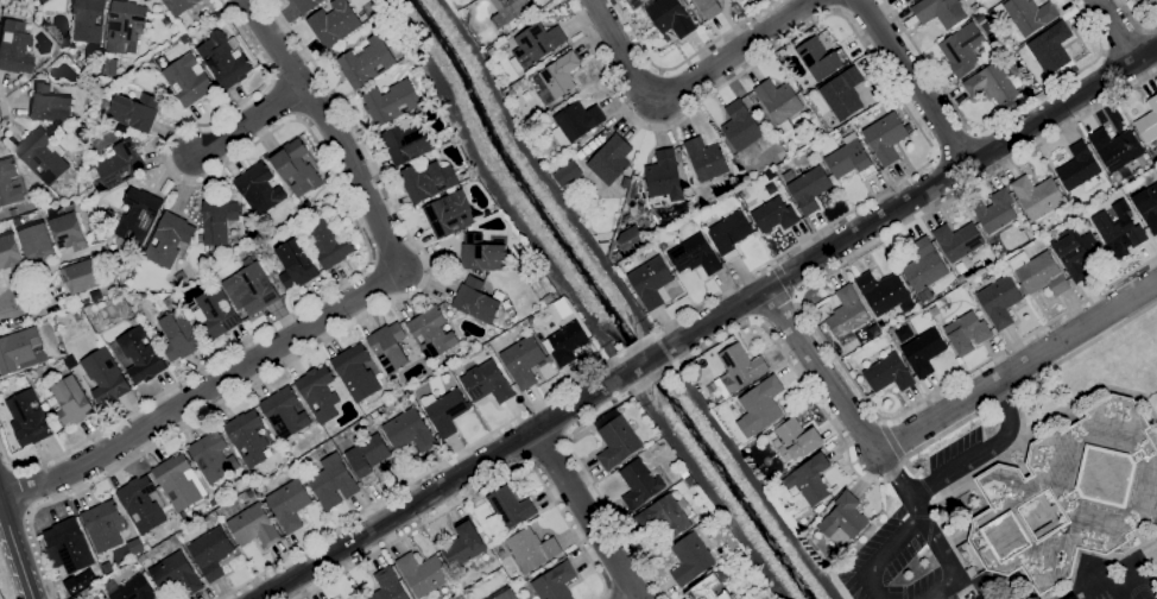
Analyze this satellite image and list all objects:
building: (905, 0)
building: (908, 0)
building: (40, 1)
building: (634, 4)
building: (306, 5)
building: (179, 6)
building: (709, 7)
building: (508, 10)
building: (940, 12)
building: (464, 14)
building: (1026, 14)
building: (670, 17)
building: (88, 19)
road: (1136, 19)
building: (334, 23)
building: (125, 26)
road: (1115, 30)
building: (536, 44)
building: (1051, 46)
building: (14, 48)
building: (962, 49)
building: (821, 57)
building: (223, 58)
road: (683, 61)
building: (366, 62)
building: (110, 67)
building: (561, 72)
building: (188, 80)
road: (912, 82)
building: (991, 83)
road: (684, 86)
building: (843, 93)
building: (779, 100)
building: (391, 102)
building: (49, 105)
building: (133, 111)
road: (8, 116)
building: (578, 119)
road: (998, 119)
road: (249, 120)
building: (521, 122)
building: (1147, 122)
building: (741, 125)
road: (333, 128)
building: (886, 137)
building: (407, 141)
road: (954, 144)
building: (1115, 147)
building: (42, 156)
building: (707, 158)
building: (851, 158)
building: (612, 159)
building: (121, 164)
building: (296, 166)
building: (1079, 166)
building: (565, 174)
building: (664, 175)
building: (428, 179)
building: (10, 182)
building: (259, 188)
building: (809, 188)
building: (1038, 195)
building: (306, 202)
road: (349, 206)
building: (1147, 206)
building: (14, 210)
building: (995, 210)
building: (450, 214)
building: (139, 215)
building: (775, 215)
building: (219, 220)
building: (18, 221)
building: (70, 228)
building: (1118, 231)
building: (731, 234)
road: (813, 234)
building: (99, 235)
building: (170, 238)
building: (631, 239)
building: (325, 240)
building: (959, 240)
building: (39, 241)
building: (358, 244)
building: (663, 245)
building: (1076, 252)
building: (12, 253)
building: (482, 253)
building: (695, 256)
building: (296, 264)
building: (924, 267)
building: (620, 272)
building: (1039, 273)
building: (81, 276)
road: (783, 280)
building: (651, 282)
building: (254, 288)
building: (881, 291)
building: (1000, 299)
building: (84, 301)
building: (170, 301)
building: (476, 301)
road: (32, 304)
road: (7, 309)
building: (935, 310)
building: (216, 314)
building: (847, 314)
road: (810, 316)
building: (135, 321)
road: (708, 322)
building: (880, 323)
building: (432, 332)
building: (878, 332)
building: (967, 332)
building: (181, 335)
road: (333, 335)
building: (101, 342)
building: (567, 342)
building: (388, 346)
building: (19, 348)
building: (923, 352)
building: (140, 354)
building: (524, 360)
building: (740, 366)
building: (355, 372)
road: (797, 373)
building: (889, 373)
building: (107, 377)
building: (487, 382)
road: (201, 389)
building: (320, 393)
building: (72, 401)
building: (760, 405)
building: (445, 410)
building: (284, 412)
building: (377, 414)
building: (30, 417)
road: (931, 418)
building: (410, 430)
building: (249, 436)
building: (795, 439)
building: (618, 442)
road: (984, 452)
flagpole: (1014, 455)
building: (214, 456)
building: (368, 456)
road: (892, 471)
building: (811, 479)
building: (181, 481)
building: (334, 481)
building: (640, 484)
road: (26, 488)
road: (482, 488)
building: (1070, 493)
building: (143, 503)
building: (214, 503)
building: (290, 504)
building: (508, 507)
building: (820, 507)
road: (913, 507)
road: (587, 515)
building: (666, 516)
building: (843, 518)
building: (814, 523)
building: (105, 524)
building: (255, 525)
road: (913, 528)
building: (71, 544)
building: (463, 544)
building: (531, 549)
road: (15, 551)
building: (213, 551)
building: (690, 559)
building: (423, 573)
building: (177, 574)
building: (556, 581)
building: (387, 586)
building: (713, 586)
building: (132, 588)
building: (506, 594)
road: (607, 594)
building: (107, 598)
road: (638, 598)
building: (1073, 598)

